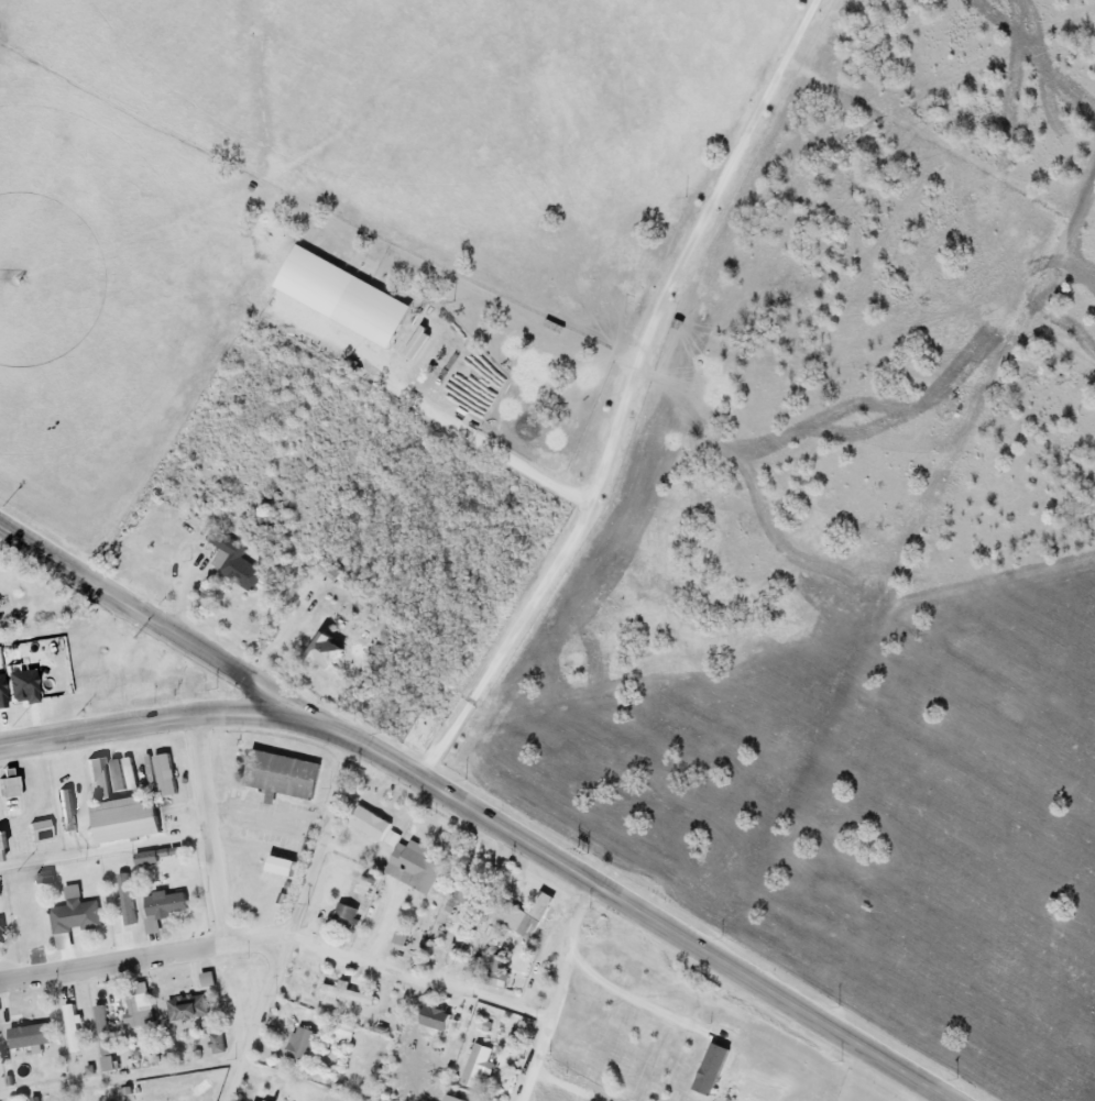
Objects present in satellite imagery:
building: (344, 296)
building: (421, 345)
road: (620, 398)
road: (1, 531)
building: (234, 561)
building: (332, 572)
road: (160, 627)
road: (278, 640)
building: (329, 651)
building: (25, 686)
building: (3, 693)
road: (158, 722)
building: (118, 774)
building: (166, 774)
building: (284, 774)
building: (121, 810)
road: (266, 822)
building: (371, 823)
building: (43, 829)
road: (207, 829)
building: (392, 837)
building: (2, 839)
road: (103, 854)
building: (147, 858)
building: (284, 866)
building: (414, 867)
building: (46, 876)
building: (127, 899)
building: (163, 907)
road: (632, 911)
building: (76, 913)
building: (525, 914)
building: (347, 915)
road: (285, 922)
building: (2, 933)
road: (278, 933)
building: (403, 936)
building: (499, 971)
building: (209, 979)
road: (621, 987)
road: (554, 992)
building: (344, 993)
building: (141, 1006)
building: (188, 1008)
building: (437, 1016)
building: (73, 1028)
building: (103, 1030)
building: (346, 1033)
building: (31, 1035)
building: (303, 1043)
building: (110, 1063)
building: (480, 1066)
building: (714, 1068)
road: (119, 1079)
building: (266, 1100)
building: (346, 1100)

